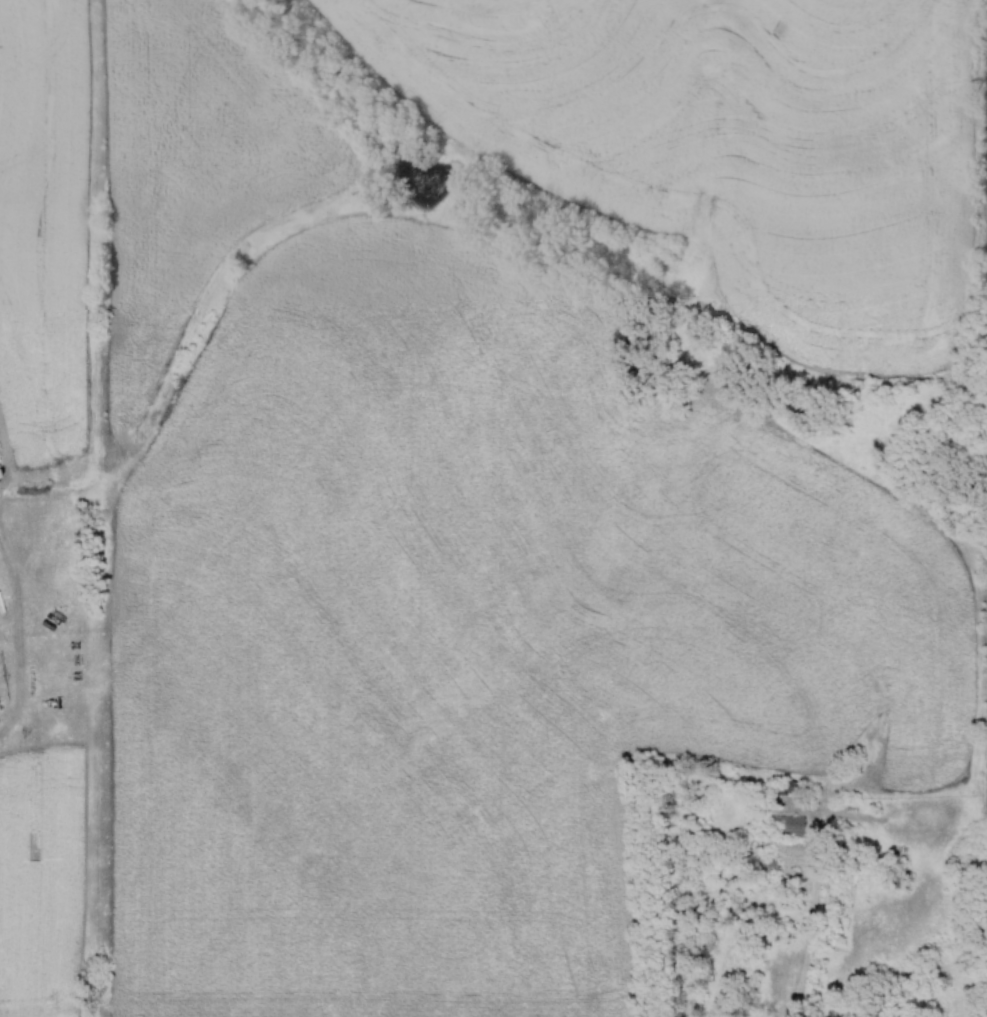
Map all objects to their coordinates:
building: (787, 826)
building: (765, 866)
road: (91, 910)

